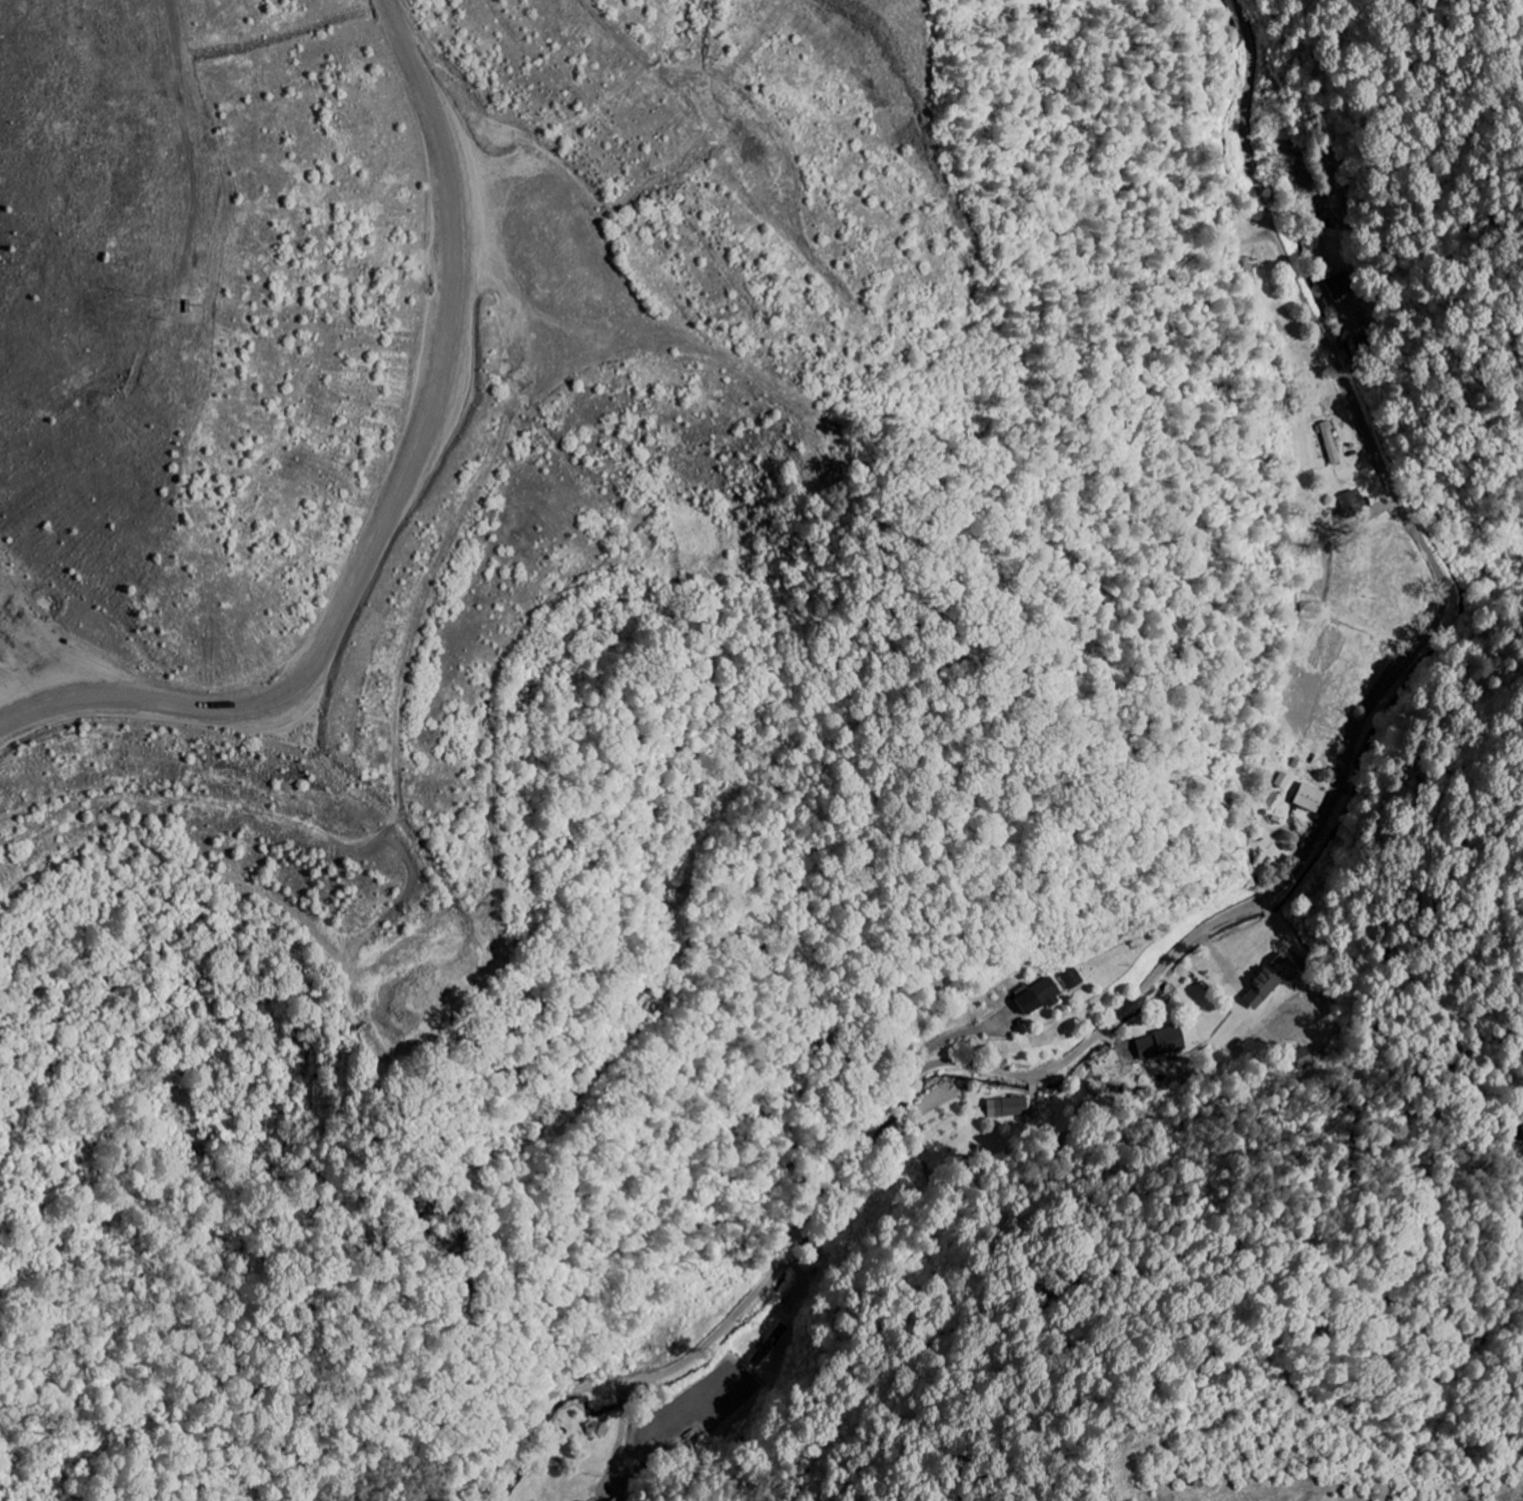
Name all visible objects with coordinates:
building: (1340, 287)
quarry: (669, 492)
building: (1355, 506)
building: (1287, 780)
building: (1313, 798)
road: (1241, 911)
building: (1075, 979)
building: (1274, 981)
building: (1042, 996)
building: (1164, 1044)
building: (1002, 1109)
quarry: (1392, 1329)
building: (618, 1500)

